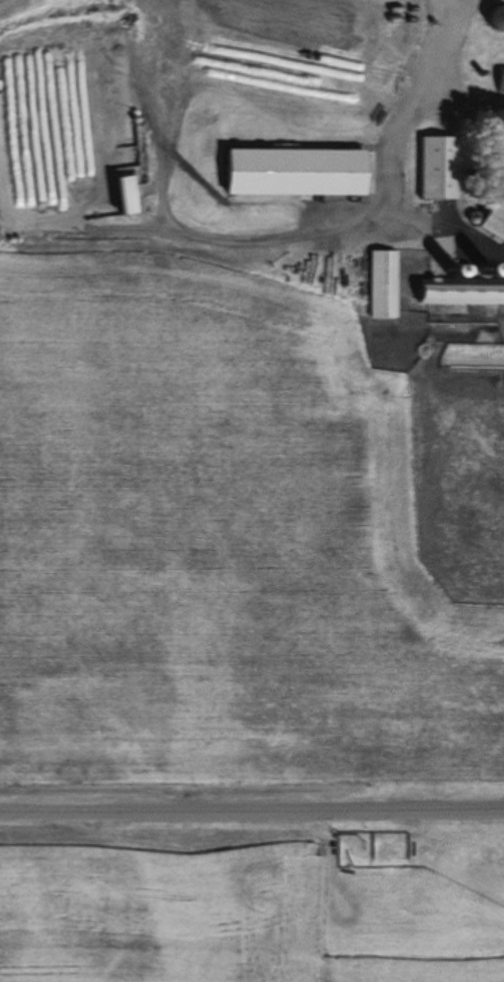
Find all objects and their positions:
building: (437, 168)
building: (292, 172)
building: (493, 222)
building: (381, 284)
building: (461, 291)
road: (251, 805)

